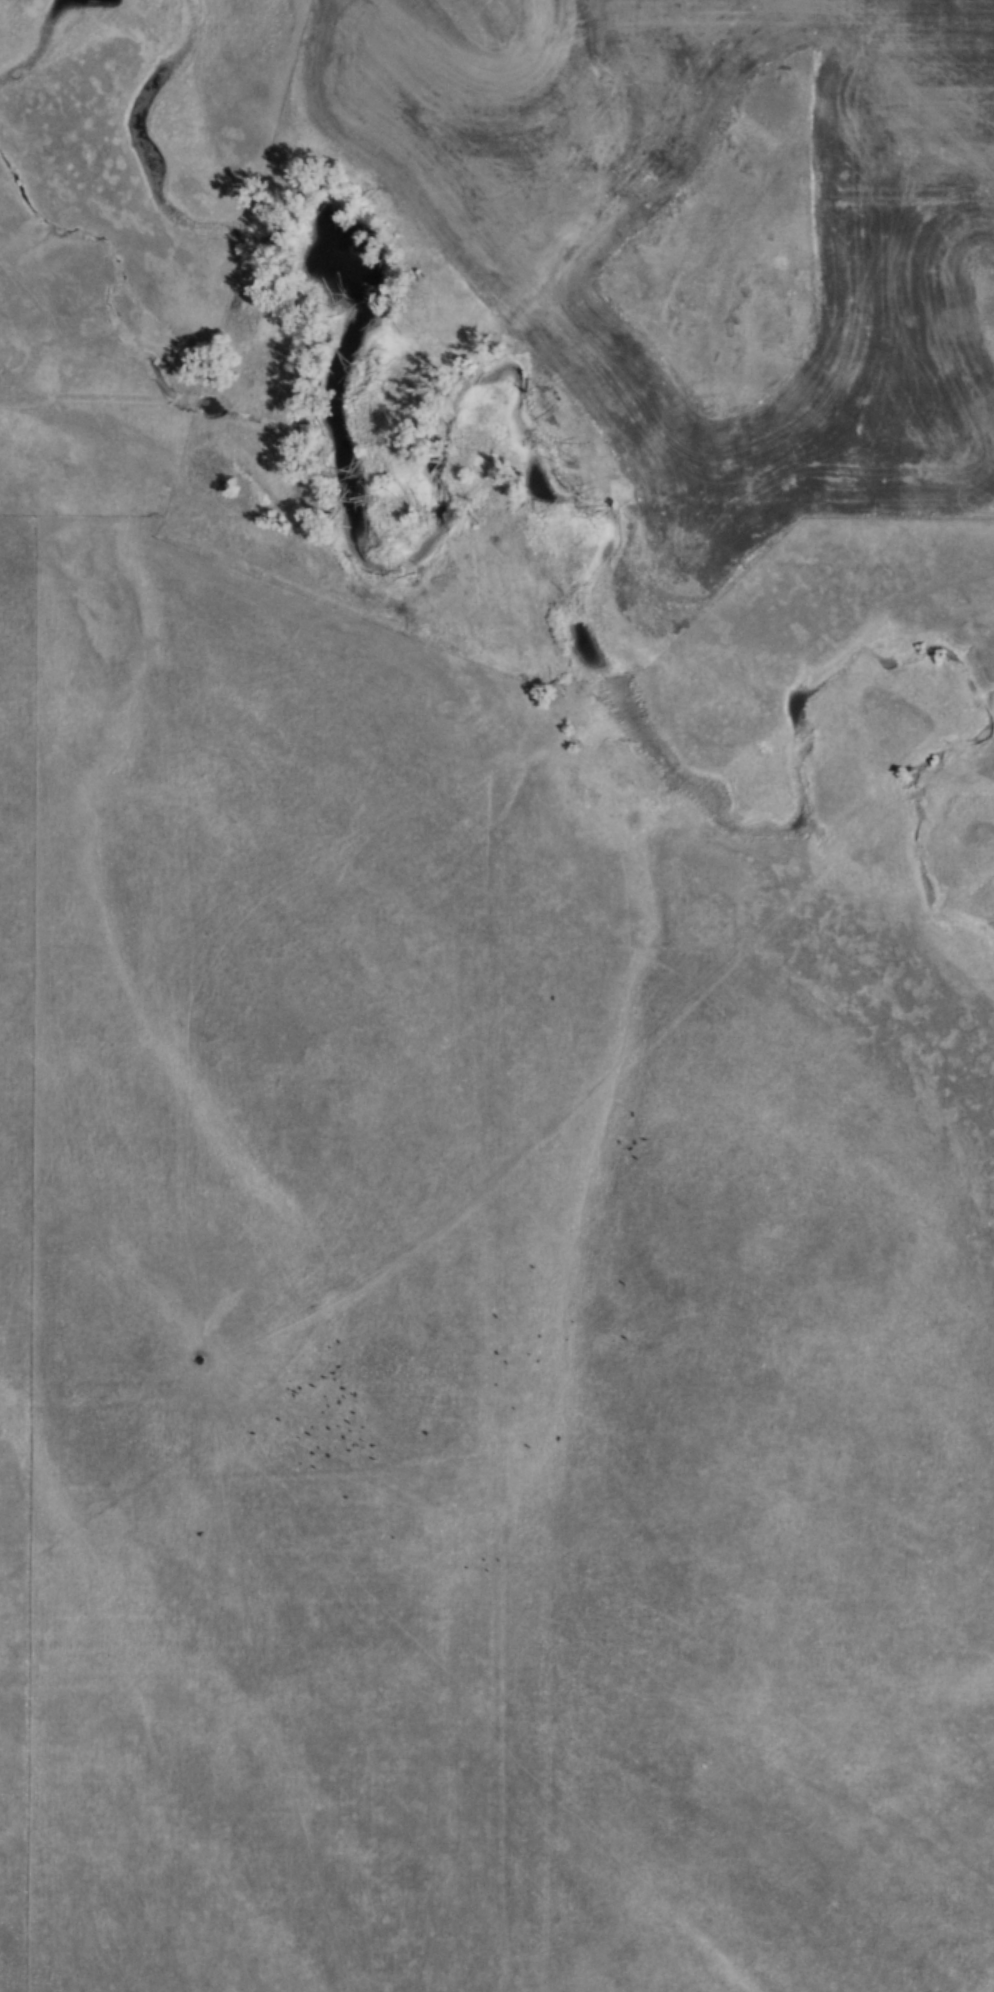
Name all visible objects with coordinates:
road: (799, 131)

